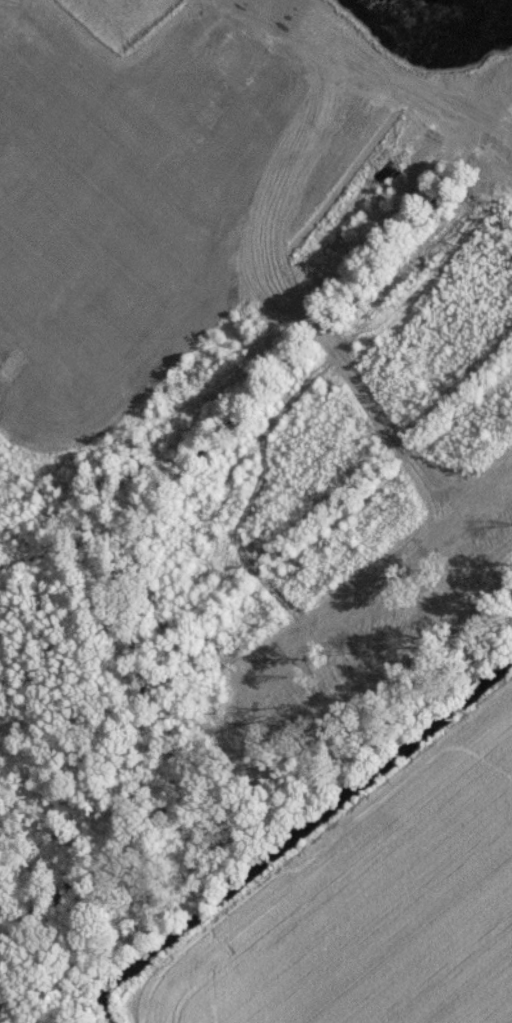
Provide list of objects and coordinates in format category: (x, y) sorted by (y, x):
crop: (371, 906)

